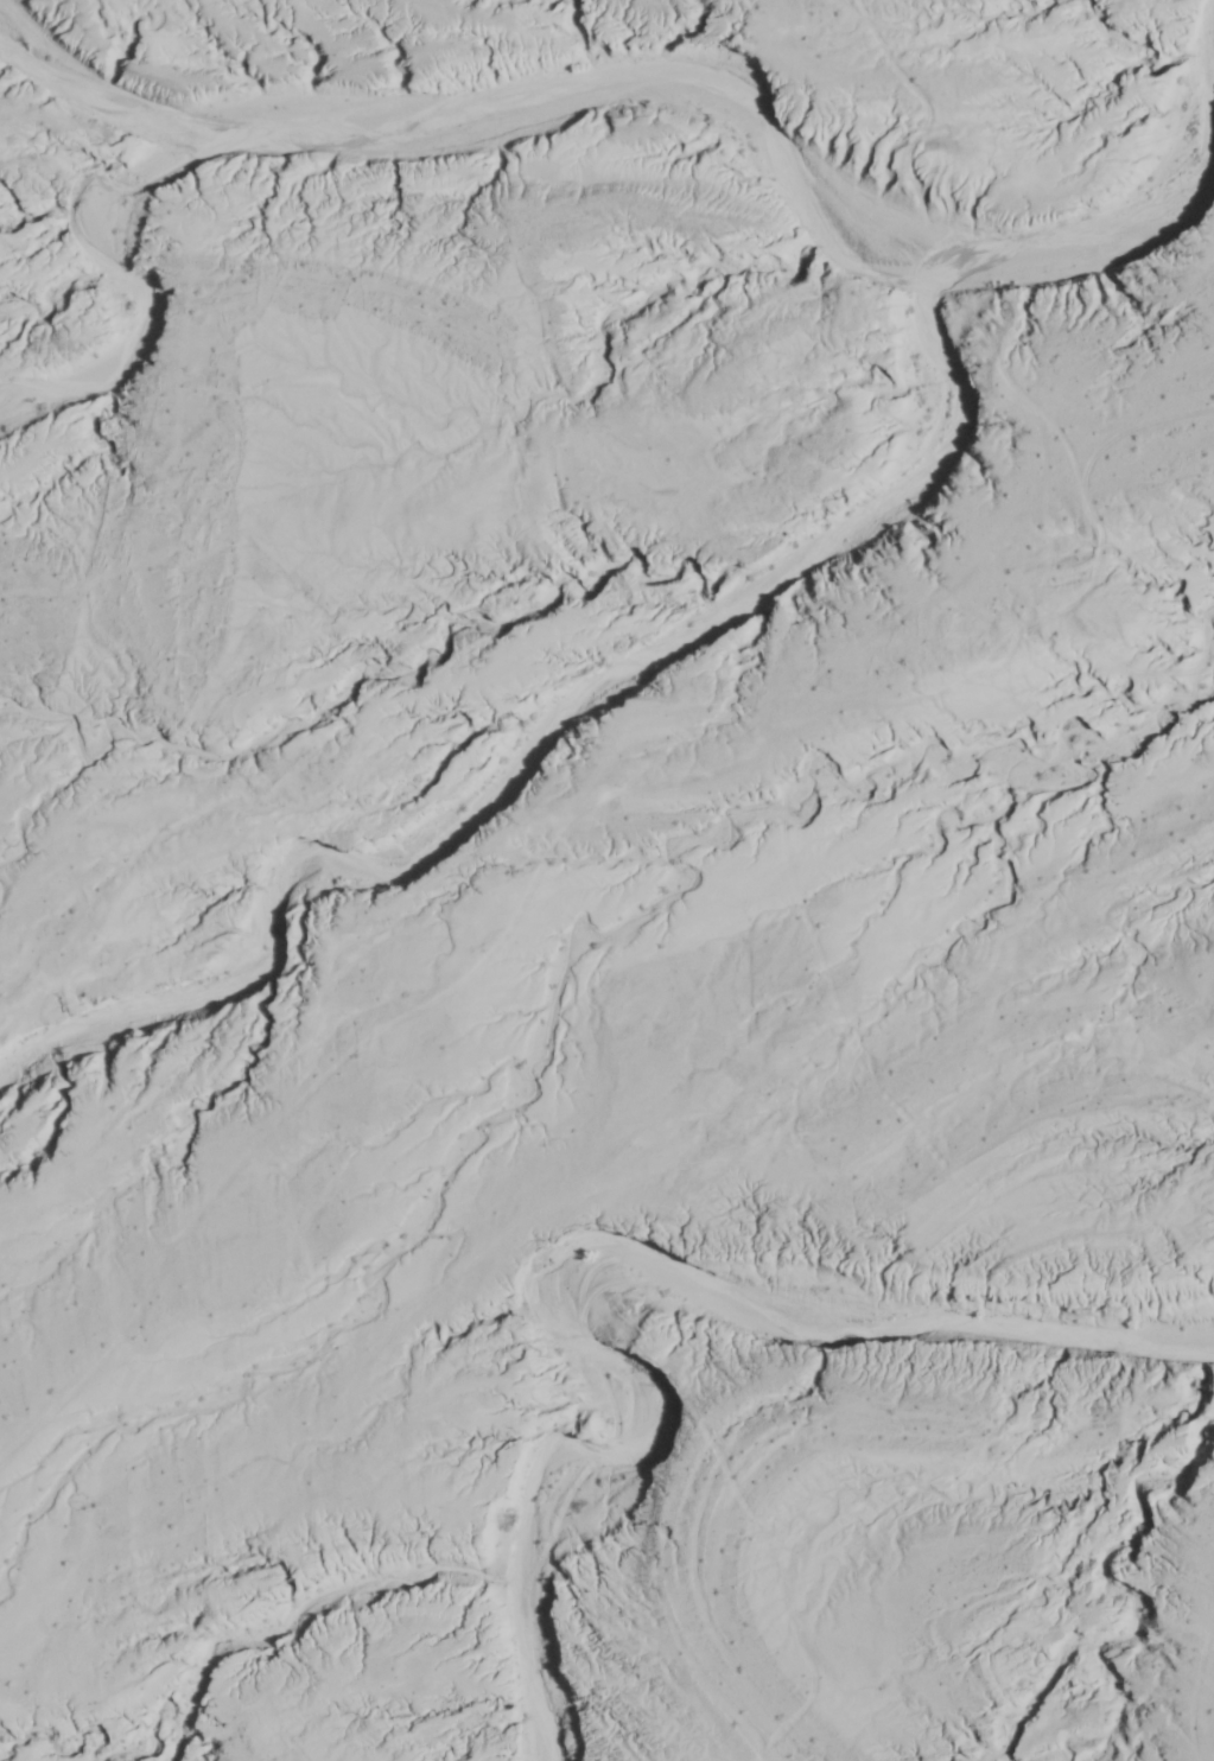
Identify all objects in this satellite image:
road: (494, 100)
road: (681, 637)

